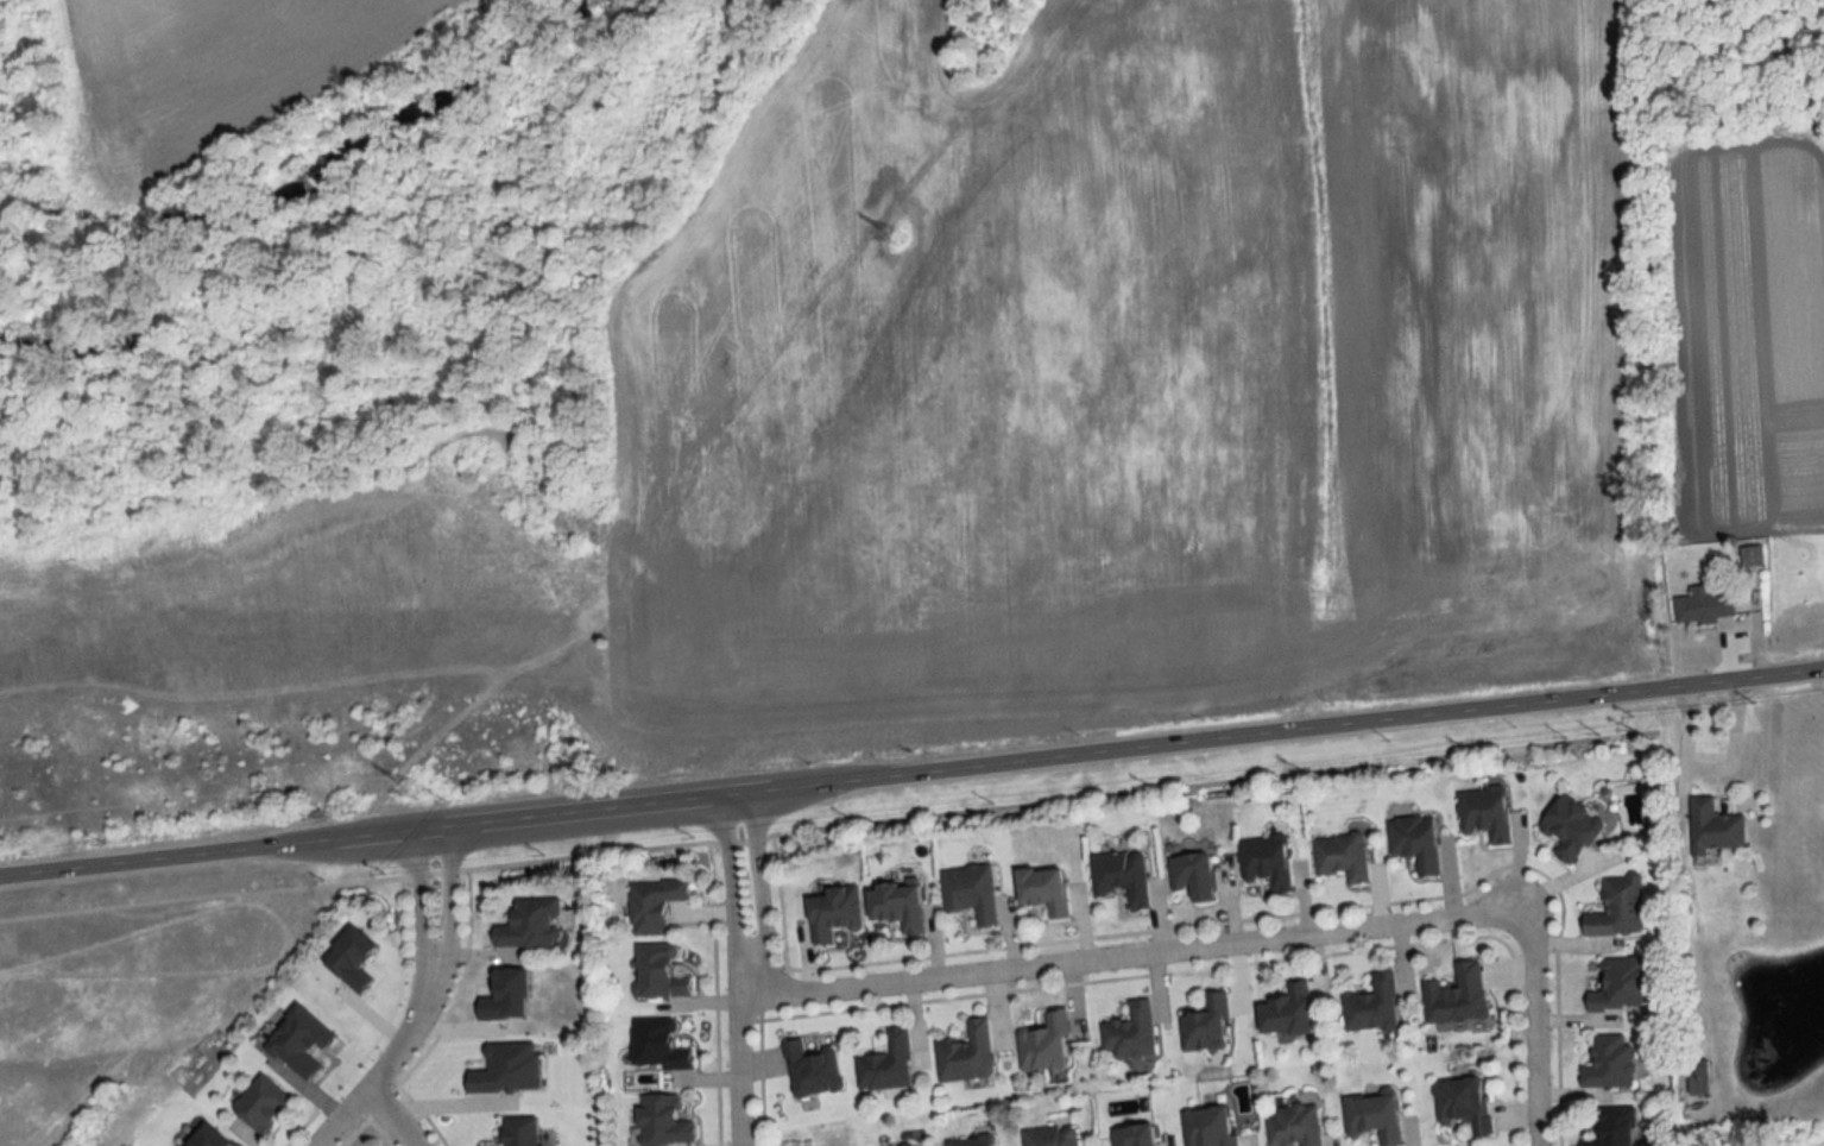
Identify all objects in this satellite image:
crop: (220, 76)
power tower: (895, 241)
crop: (1746, 336)
crop: (1121, 373)
building: (1703, 606)
road: (911, 776)
power tower: (417, 791)
building: (1483, 813)
building: (1713, 826)
building: (1569, 829)
building: (1414, 842)
building: (1339, 856)
building: (1264, 861)
building: (1191, 876)
building: (1119, 877)
building: (1041, 889)
building: (968, 892)
road: (450, 895)
road: (419, 896)
building: (651, 903)
building: (894, 906)
building: (1616, 908)
building: (832, 913)
building: (528, 924)
road: (749, 957)
road: (1126, 958)
building: (658, 972)
building: (1618, 984)
building: (1456, 995)
building: (1370, 1005)
building: (1285, 1012)
building: (1204, 1024)
building: (1128, 1032)
road: (1534, 1033)
building: (1042, 1043)
building: (656, 1044)
road: (739, 1051)
building: (964, 1053)
road: (393, 1059)
building: (1608, 1062)
building: (885, 1063)
building: (809, 1069)
building: (1460, 1102)
building: (266, 1103)
road: (395, 1116)
building: (1371, 1117)
building: (659, 1121)
building: (1206, 1126)
building: (1293, 1126)
building: (1615, 1126)
building: (1049, 1135)
building: (1131, 1135)
building: (970, 1141)

